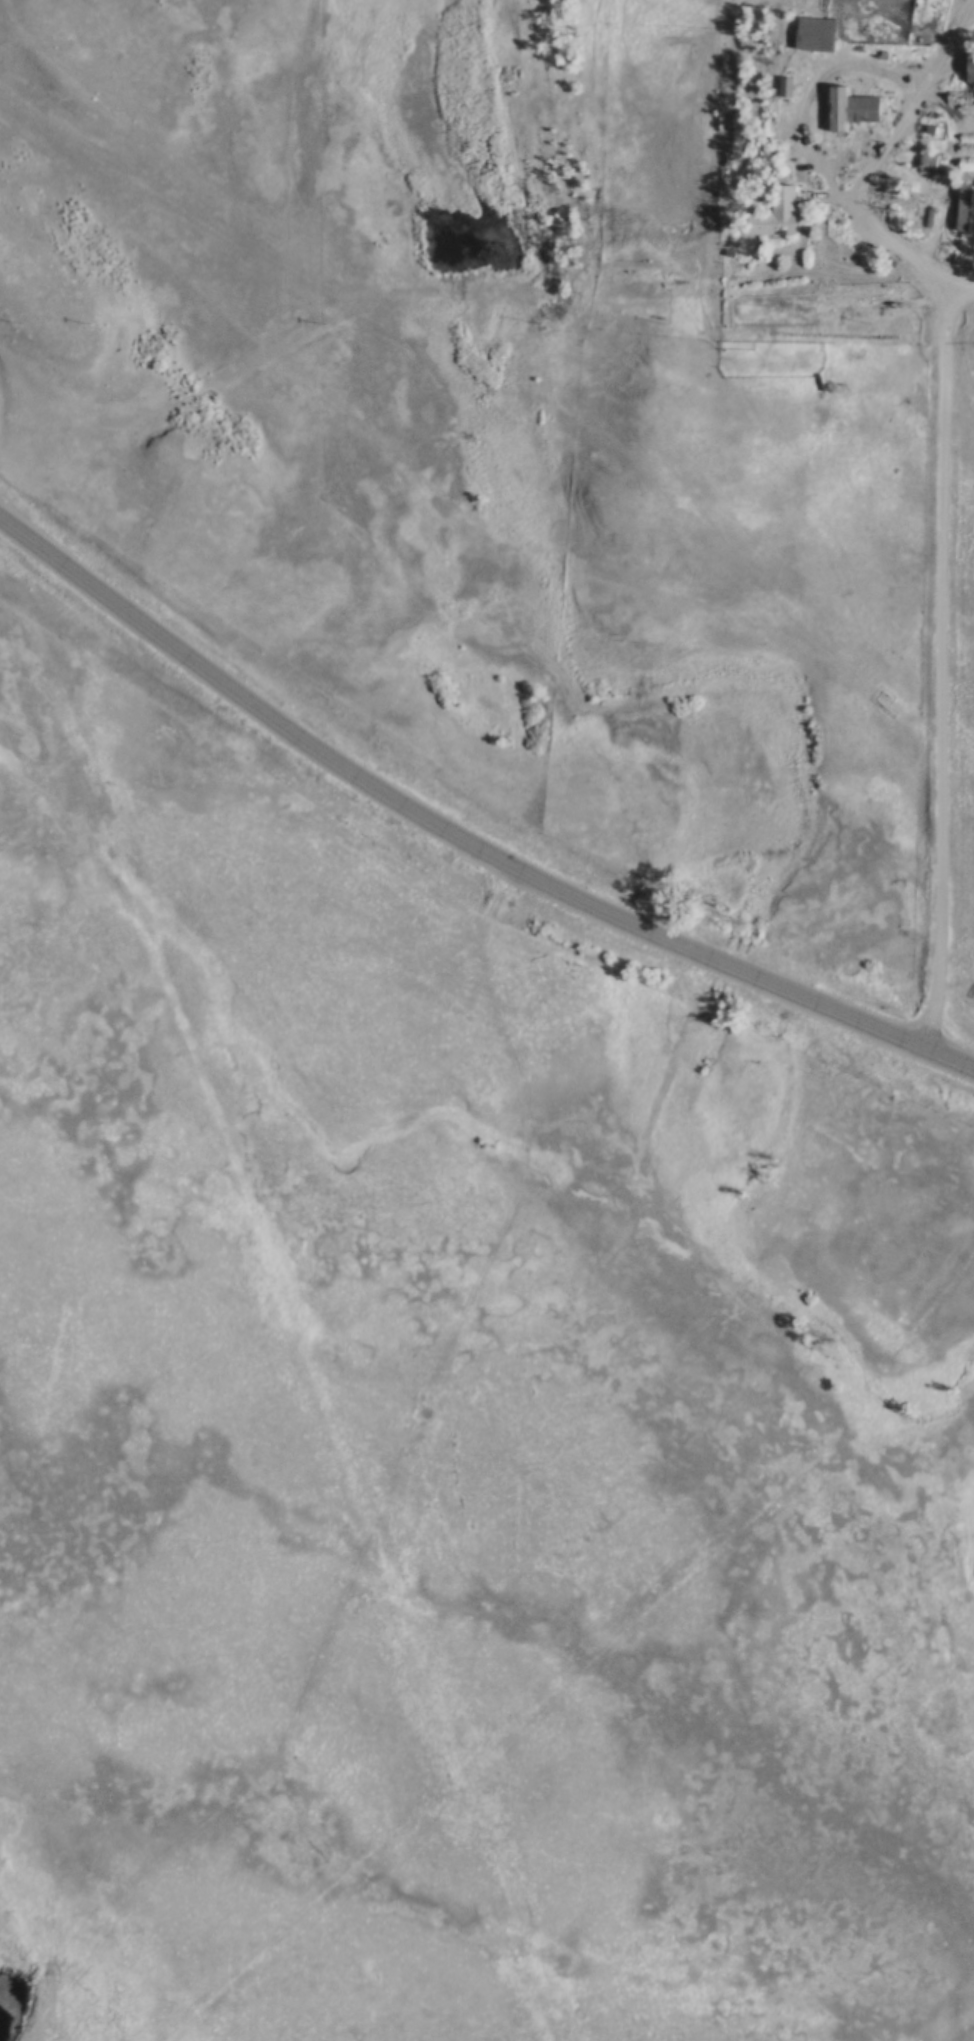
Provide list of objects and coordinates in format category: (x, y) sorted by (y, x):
building: (813, 34)
road: (947, 38)
road: (863, 66)
building: (969, 69)
building: (784, 87)
building: (849, 108)
building: (927, 162)
building: (773, 213)
road: (901, 259)
road: (945, 668)
road: (441, 827)
road: (951, 1062)

